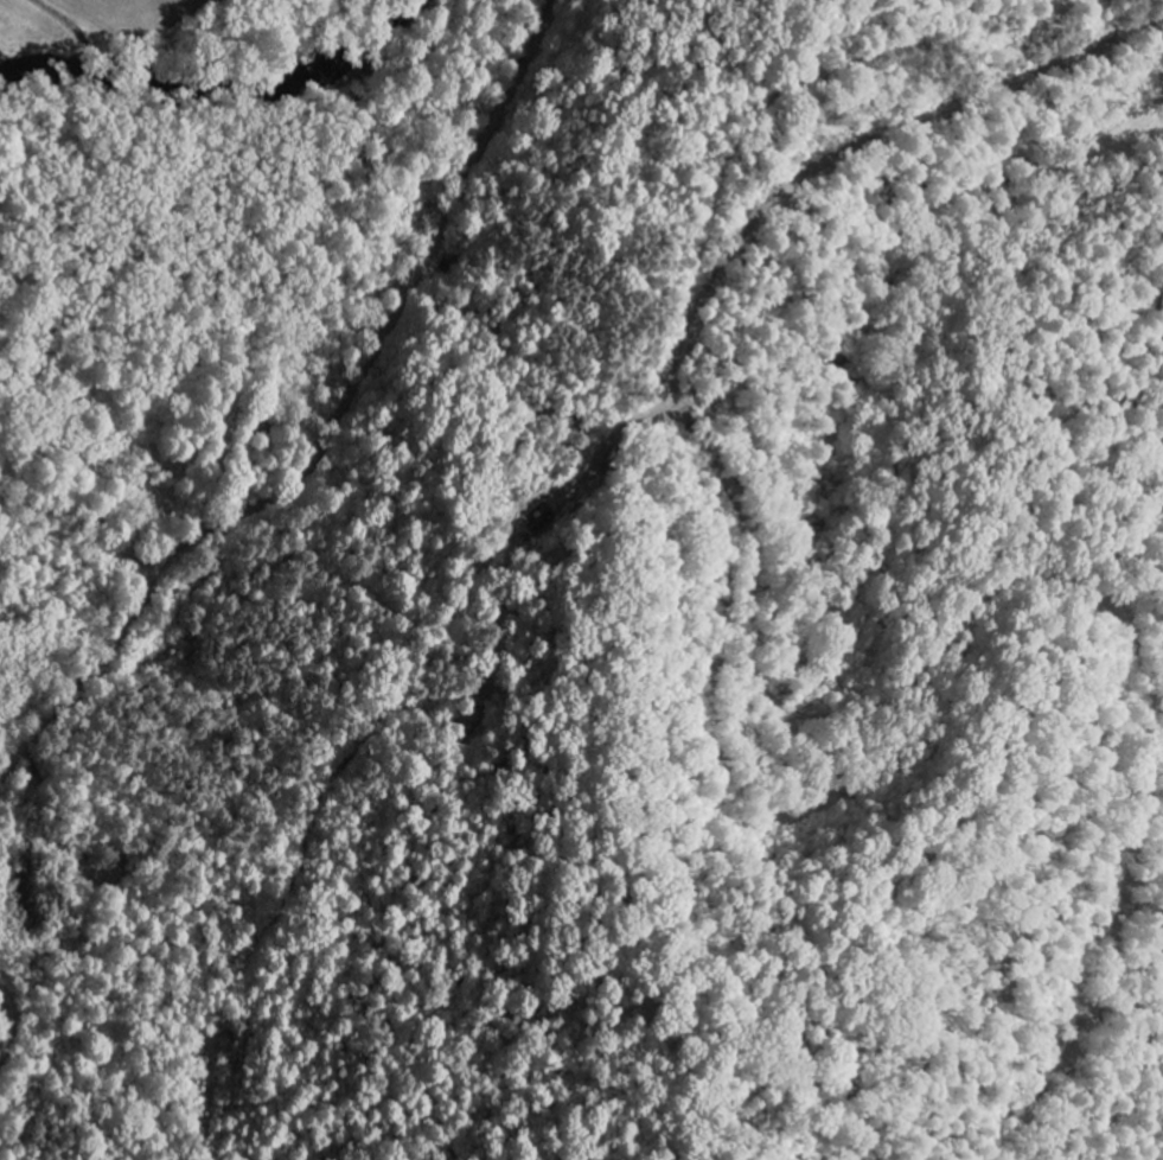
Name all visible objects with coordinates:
river: (224, 81)
road: (331, 435)
road: (5, 1022)

